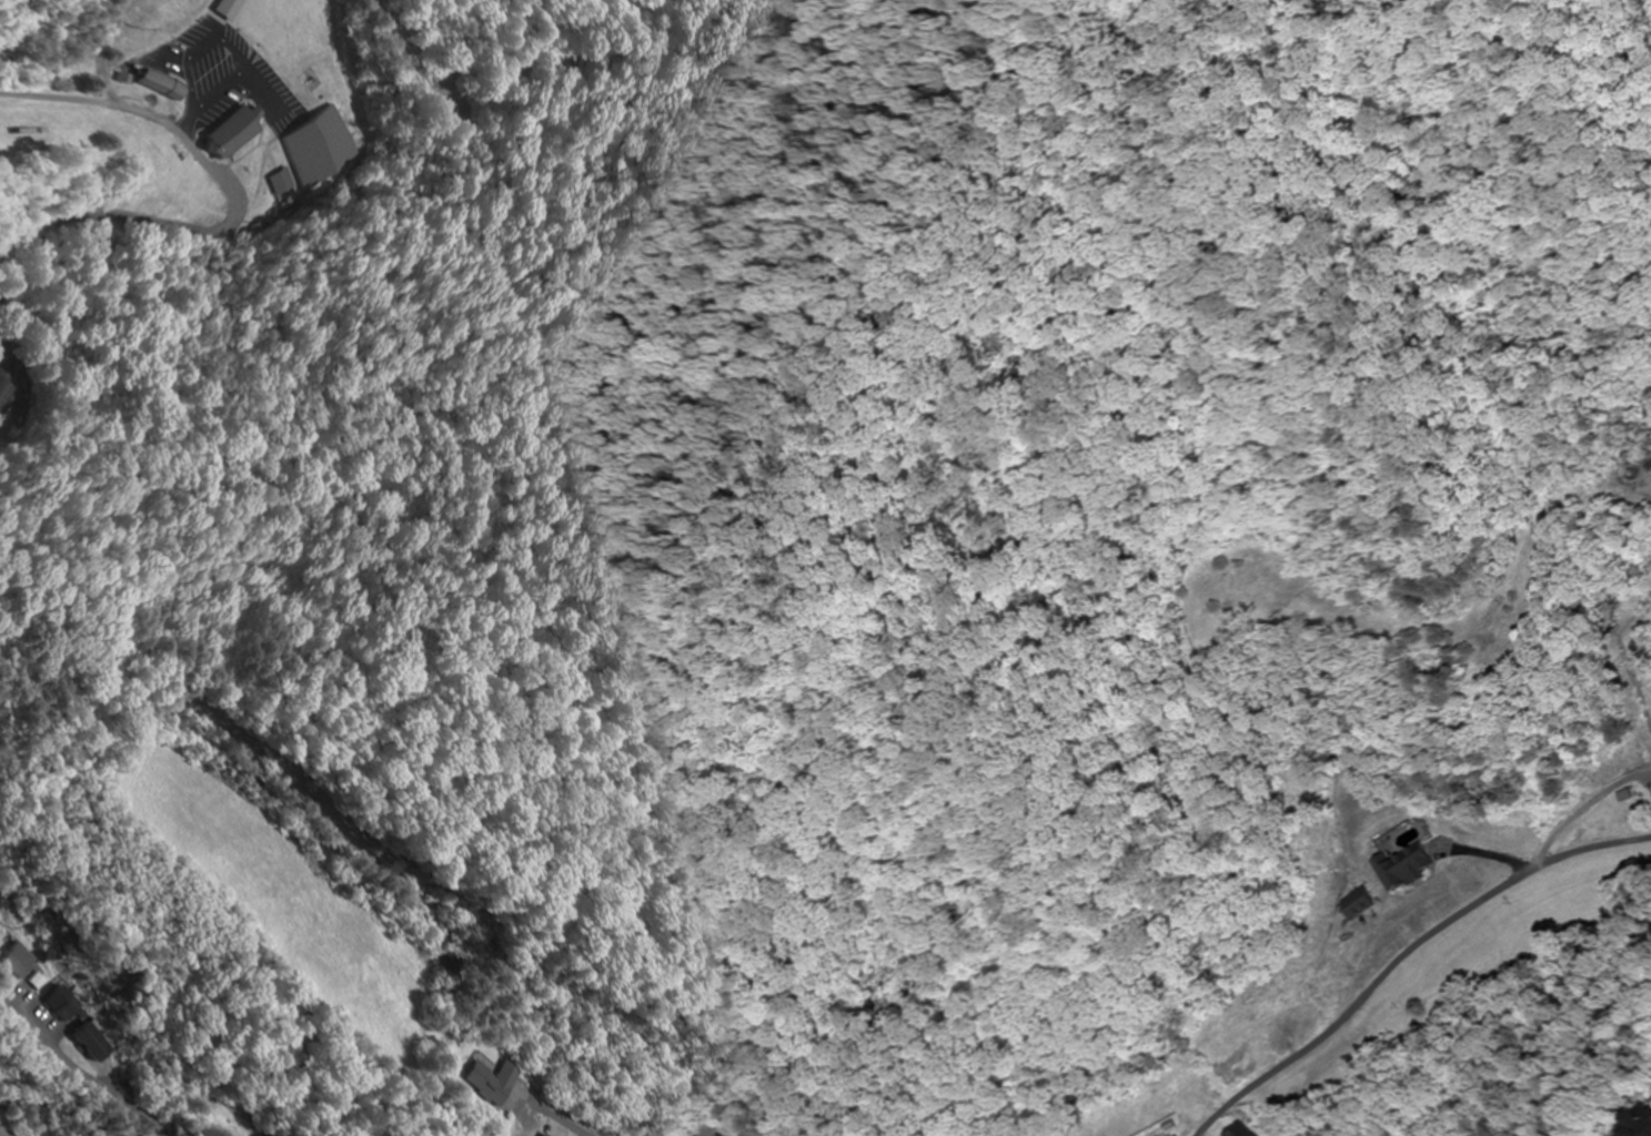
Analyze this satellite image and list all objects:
building: (138, 83)
building: (215, 132)
building: (319, 148)
building: (276, 182)
road: (231, 202)
road: (1631, 814)
road: (1631, 846)
building: (1401, 870)
road: (1406, 954)
building: (19, 960)
building: (62, 1003)
building: (90, 1042)
building: (493, 1081)
road: (101, 1085)
road: (57, 1115)
road: (570, 1119)
building: (1640, 1124)
building: (1240, 1130)
building: (262, 1135)

